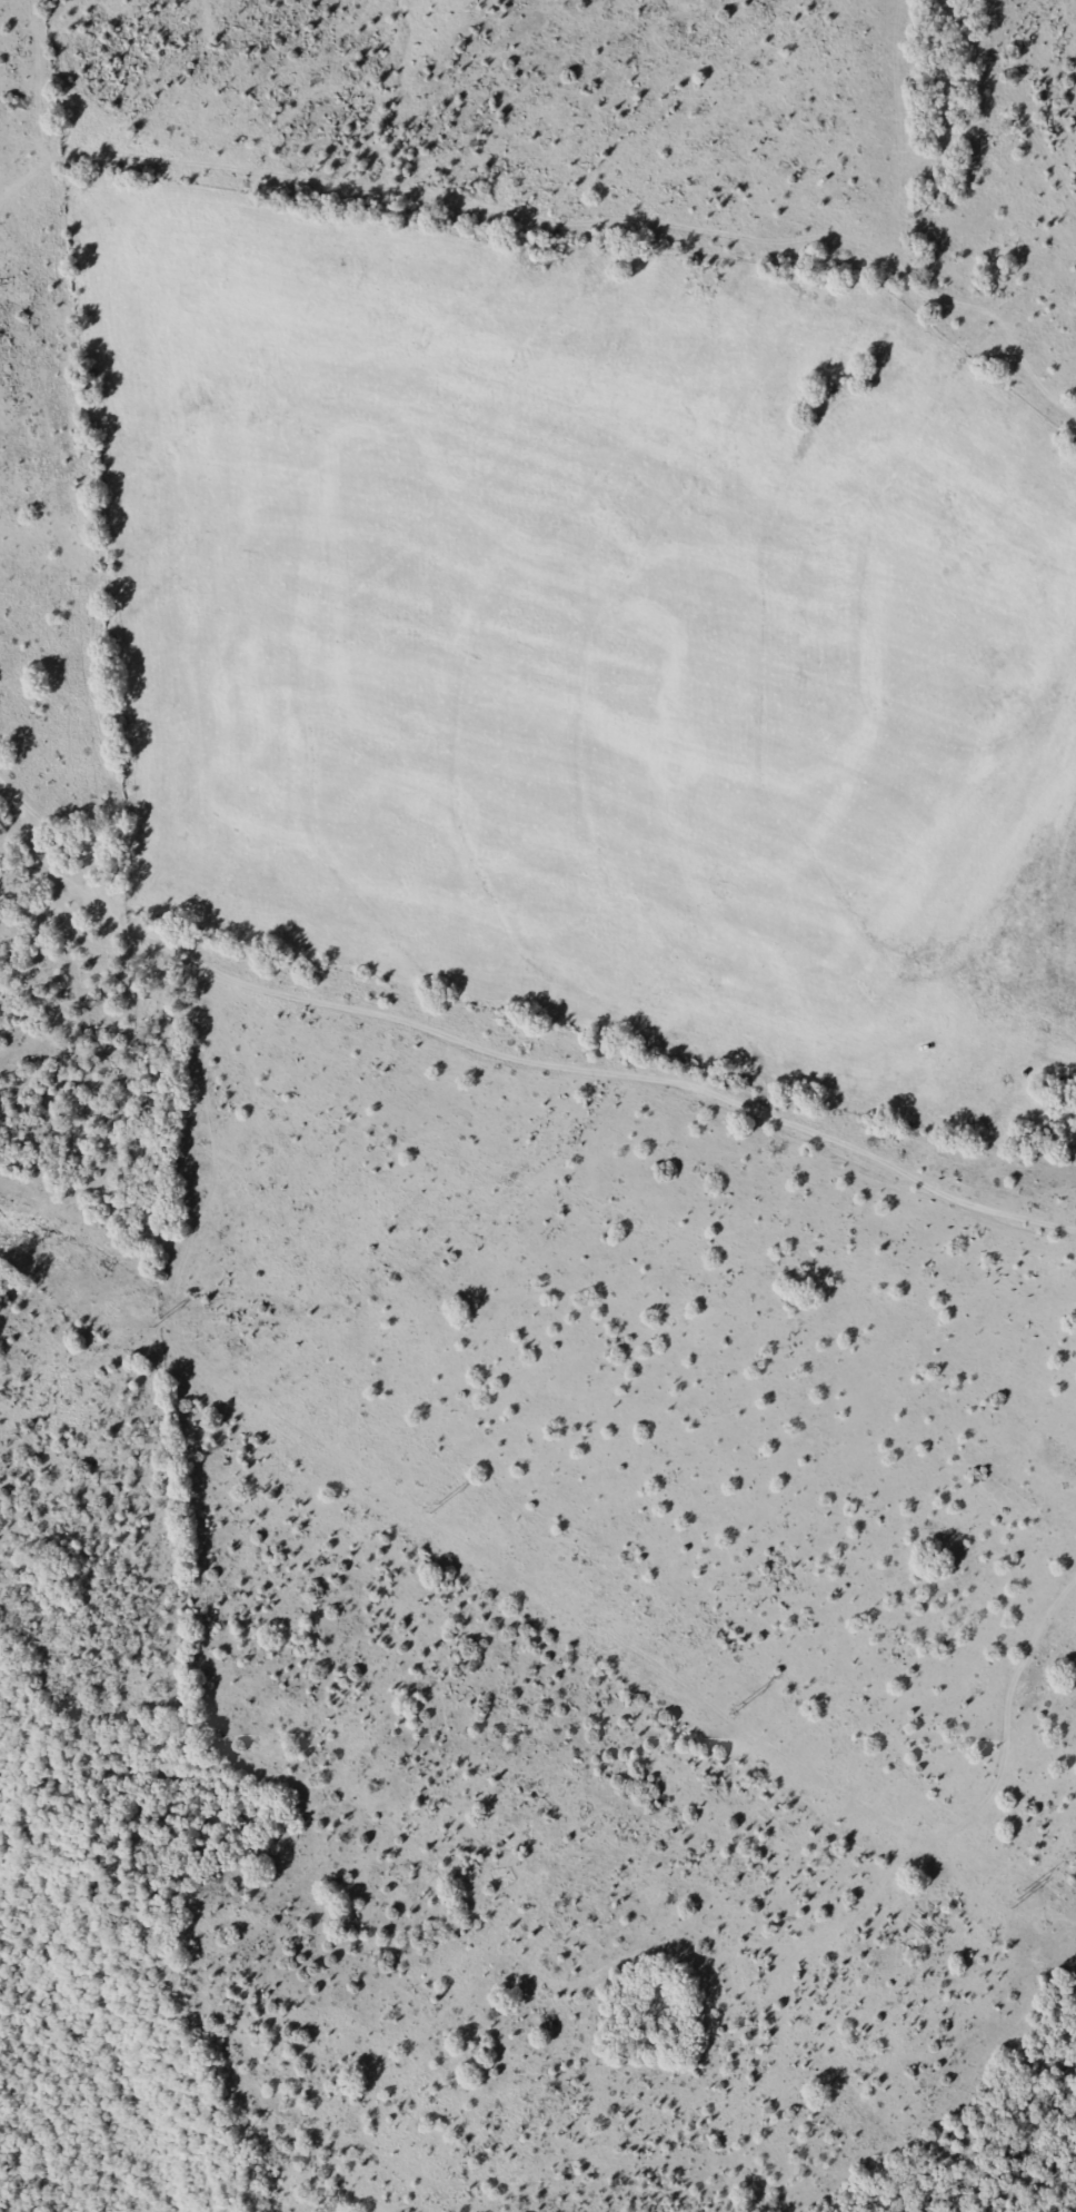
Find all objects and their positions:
road: (508, 1057)
power tower: (155, 1320)
power tower: (430, 1508)
power tower: (735, 1708)
power tower: (1015, 1898)

